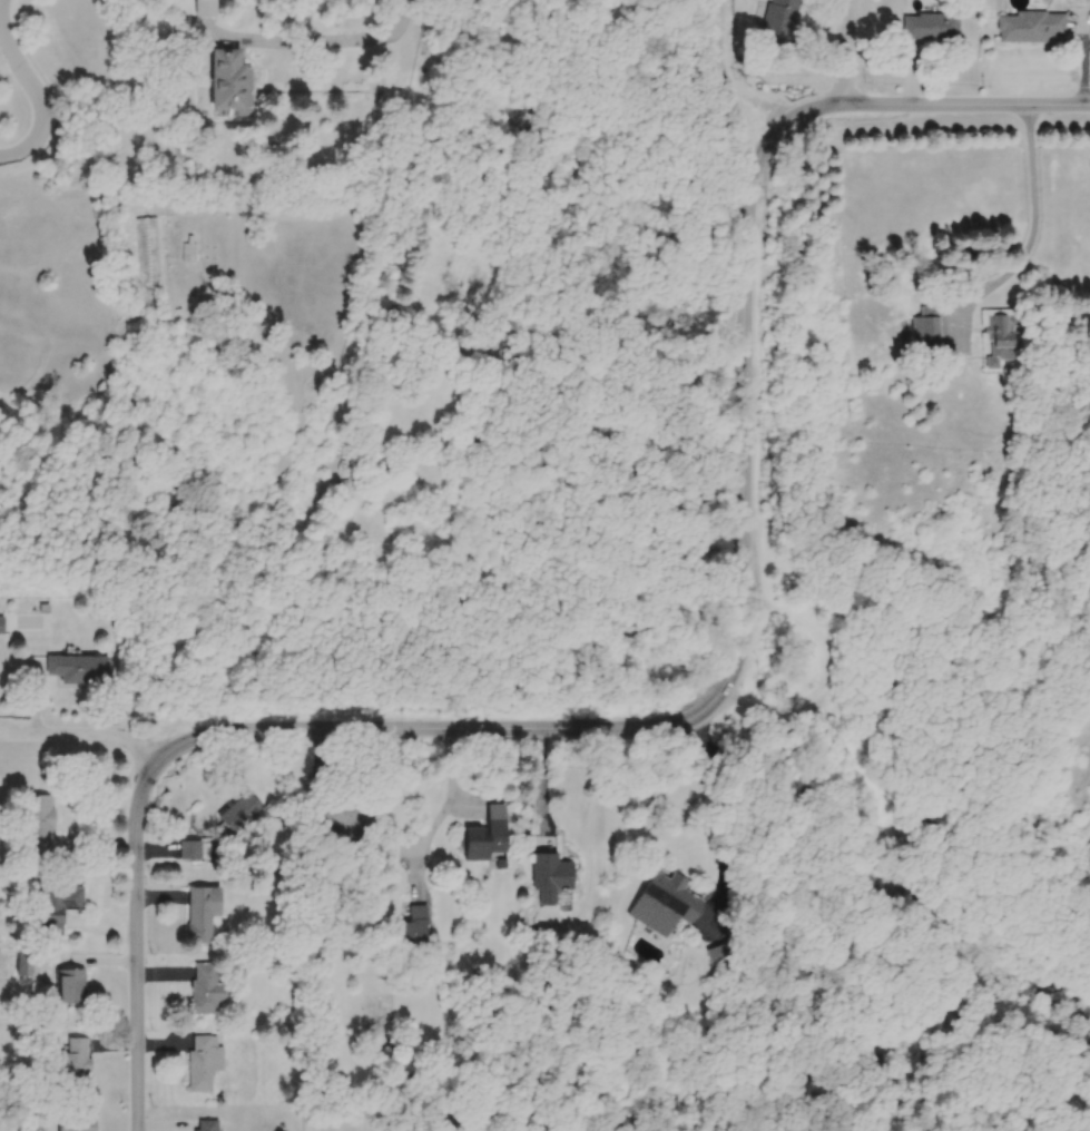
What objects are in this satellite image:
building: (206, 9)
building: (780, 23)
building: (932, 28)
building: (1032, 28)
road: (289, 40)
road: (847, 52)
road: (725, 78)
building: (226, 85)
road: (36, 88)
road: (1025, 235)
building: (149, 258)
building: (927, 335)
building: (1002, 341)
building: (485, 348)
building: (2, 627)
building: (80, 671)
road: (698, 716)
road: (88, 735)
road: (541, 786)
road: (462, 806)
road: (719, 810)
building: (244, 813)
road: (439, 815)
building: (40, 826)
building: (489, 838)
building: (192, 849)
building: (552, 877)
building: (668, 903)
building: (58, 906)
building: (203, 913)
building: (413, 932)
building: (724, 957)
building: (72, 985)
building: (205, 989)
building: (77, 1060)
building: (205, 1062)
building: (78, 1123)
building: (206, 1124)

